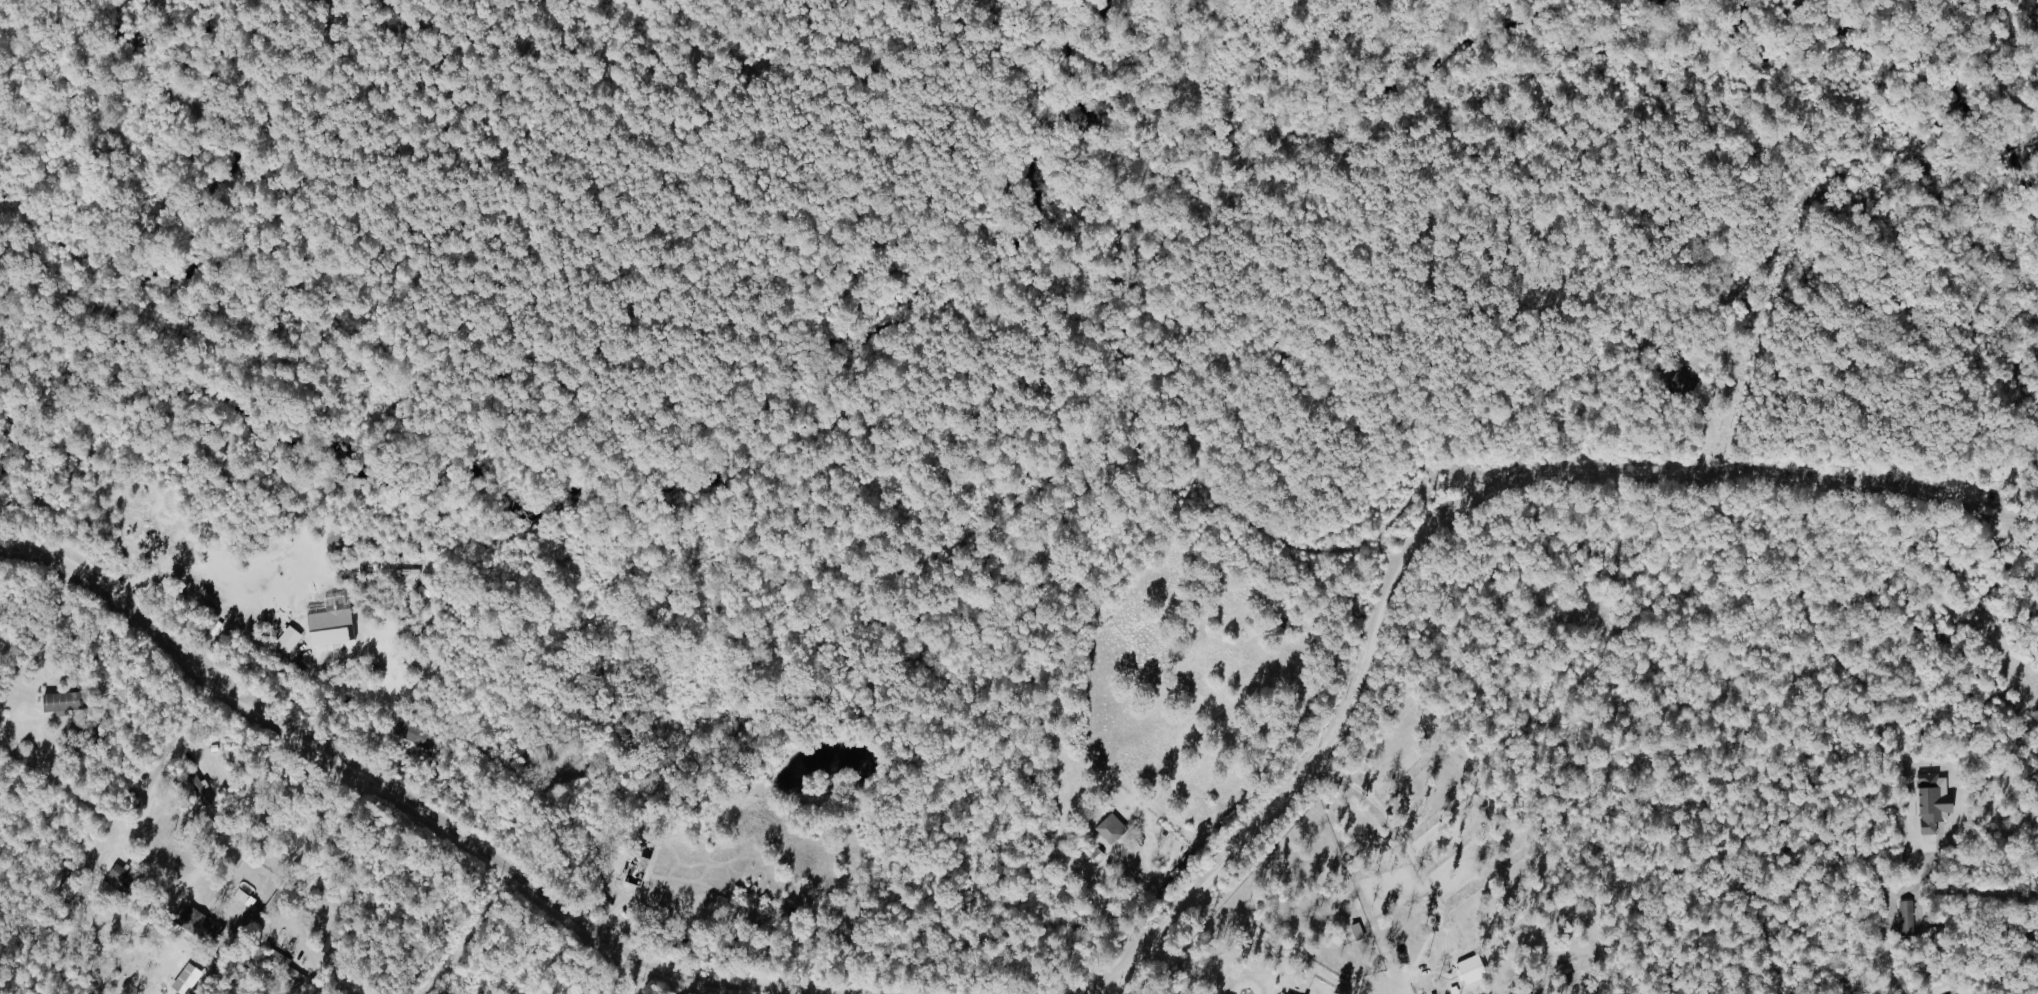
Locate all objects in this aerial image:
road: (1443, 522)
building: (408, 576)
road: (188, 580)
road: (53, 620)
building: (291, 639)
building: (66, 701)
building: (415, 734)
road: (161, 773)
road: (1905, 779)
road: (408, 798)
building: (1929, 801)
road: (239, 811)
building: (1108, 829)
road: (326, 853)
road: (1414, 865)
building: (127, 877)
building: (68, 888)
road: (632, 903)
building: (1904, 918)
building: (202, 928)
road: (469, 931)
building: (1355, 932)
road: (1259, 945)
building: (1467, 970)
road: (622, 974)
road: (675, 985)
road: (1104, 988)
road: (746, 989)
road: (1392, 991)
building: (1283, 993)

